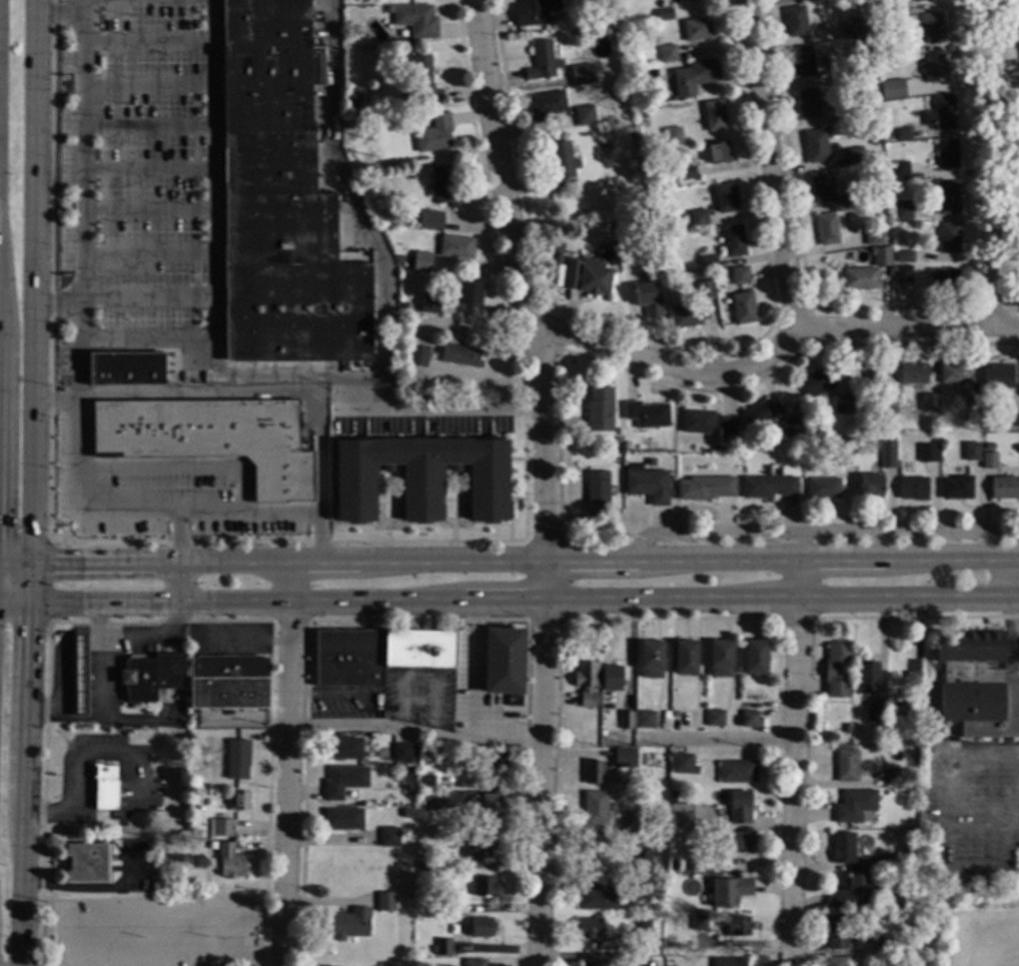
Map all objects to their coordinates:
building: (918, 0)
building: (889, 6)
building: (388, 9)
building: (533, 11)
building: (1017, 12)
road: (65, 13)
building: (664, 13)
building: (415, 21)
building: (795, 21)
building: (933, 28)
building: (696, 29)
building: (616, 30)
building: (850, 31)
building: (631, 33)
building: (859, 42)
building: (906, 48)
building: (667, 53)
building: (542, 61)
building: (801, 61)
building: (934, 69)
building: (581, 74)
building: (841, 74)
building: (694, 76)
building: (642, 77)
building: (423, 78)
building: (628, 87)
building: (892, 89)
building: (354, 97)
building: (808, 104)
building: (546, 105)
building: (845, 112)
building: (641, 113)
building: (939, 113)
building: (584, 115)
building: (714, 115)
building: (902, 133)
building: (434, 134)
building: (673, 136)
building: (874, 140)
building: (815, 146)
building: (718, 152)
building: (947, 153)
building: (853, 155)
road: (986, 163)
building: (560, 164)
road: (765, 165)
building: (899, 170)
building: (686, 173)
road: (215, 181)
road: (81, 182)
building: (924, 185)
building: (444, 187)
building: (821, 188)
building: (947, 196)
building: (726, 198)
building: (280, 200)
building: (848, 201)
building: (903, 209)
road: (355, 210)
building: (698, 218)
building: (841, 218)
building: (430, 219)
building: (826, 229)
building: (873, 234)
building: (949, 238)
building: (732, 240)
building: (455, 247)
building: (883, 254)
building: (557, 256)
building: (904, 256)
building: (708, 260)
building: (421, 261)
building: (903, 273)
building: (739, 275)
building: (586, 277)
building: (860, 278)
building: (944, 278)
building: (704, 288)
building: (467, 293)
road: (526, 298)
building: (647, 299)
building: (430, 303)
building: (403, 306)
building: (743, 308)
building: (687, 314)
road: (129, 341)
road: (771, 347)
building: (462, 353)
building: (417, 355)
road: (72, 365)
building: (125, 369)
building: (954, 373)
building: (871, 374)
building: (913, 374)
building: (997, 375)
road: (272, 376)
building: (817, 382)
road: (174, 390)
road: (337, 393)
building: (928, 402)
building: (841, 404)
building: (971, 406)
road: (440, 407)
building: (598, 408)
building: (646, 414)
building: (887, 415)
building: (759, 417)
building: (1011, 418)
building: (707, 423)
building: (789, 426)
building: (210, 438)
building: (629, 445)
building: (988, 446)
building: (971, 450)
building: (927, 452)
building: (887, 454)
building: (843, 456)
building: (988, 460)
road: (318, 476)
building: (421, 477)
road: (32, 483)
building: (646, 483)
building: (870, 485)
building: (768, 486)
building: (704, 487)
building: (823, 488)
building: (912, 488)
building: (956, 488)
building: (1003, 488)
road: (85, 491)
building: (597, 493)
road: (819, 533)
road: (178, 558)
road: (509, 560)
traffic signals: (54, 564)
road: (1004, 576)
road: (49, 580)
road: (596, 599)
road: (87, 605)
road: (1011, 622)
traffic signals: (30, 627)
road: (135, 633)
building: (377, 655)
building: (685, 658)
building: (755, 658)
building: (720, 659)
building: (650, 660)
building: (503, 663)
road: (471, 668)
road: (61, 670)
building: (837, 671)
building: (80, 675)
building: (152, 676)
building: (866, 677)
building: (611, 678)
building: (913, 681)
building: (229, 682)
building: (586, 683)
building: (977, 683)
building: (747, 707)
building: (874, 712)
building: (675, 714)
building: (666, 715)
building: (903, 716)
building: (646, 717)
building: (714, 718)
building: (625, 720)
building: (750, 720)
building: (846, 729)
road: (414, 730)
road: (715, 738)
building: (879, 740)
building: (345, 749)
road: (791, 749)
road: (982, 751)
building: (402, 753)
building: (654, 756)
building: (626, 758)
building: (238, 760)
building: (497, 763)
road: (284, 764)
building: (683, 764)
building: (846, 765)
building: (737, 772)
building: (595, 773)
building: (407, 775)
building: (893, 777)
building: (344, 782)
road: (542, 783)
building: (426, 784)
building: (105, 786)
building: (239, 801)
building: (430, 802)
building: (855, 806)
building: (739, 807)
building: (595, 809)
building: (491, 811)
building: (408, 813)
road: (49, 816)
building: (679, 816)
building: (343, 819)
building: (633, 821)
building: (221, 828)
building: (191, 833)
building: (389, 838)
building: (638, 838)
building: (735, 841)
building: (480, 847)
building: (843, 849)
building: (641, 860)
building: (231, 862)
building: (891, 862)
building: (87, 863)
building: (692, 866)
building: (430, 867)
building: (172, 876)
building: (897, 878)
building: (484, 886)
building: (730, 891)
building: (850, 893)
building: (594, 895)
building: (386, 902)
building: (443, 909)
building: (699, 923)
building: (349, 924)
building: (738, 926)
building: (481, 927)
building: (642, 927)
building: (588, 929)
building: (837, 932)
road: (235, 937)
building: (882, 944)
building: (443, 948)
building: (728, 962)
building: (835, 962)
building: (896, 962)
building: (474, 963)
building: (589, 964)

